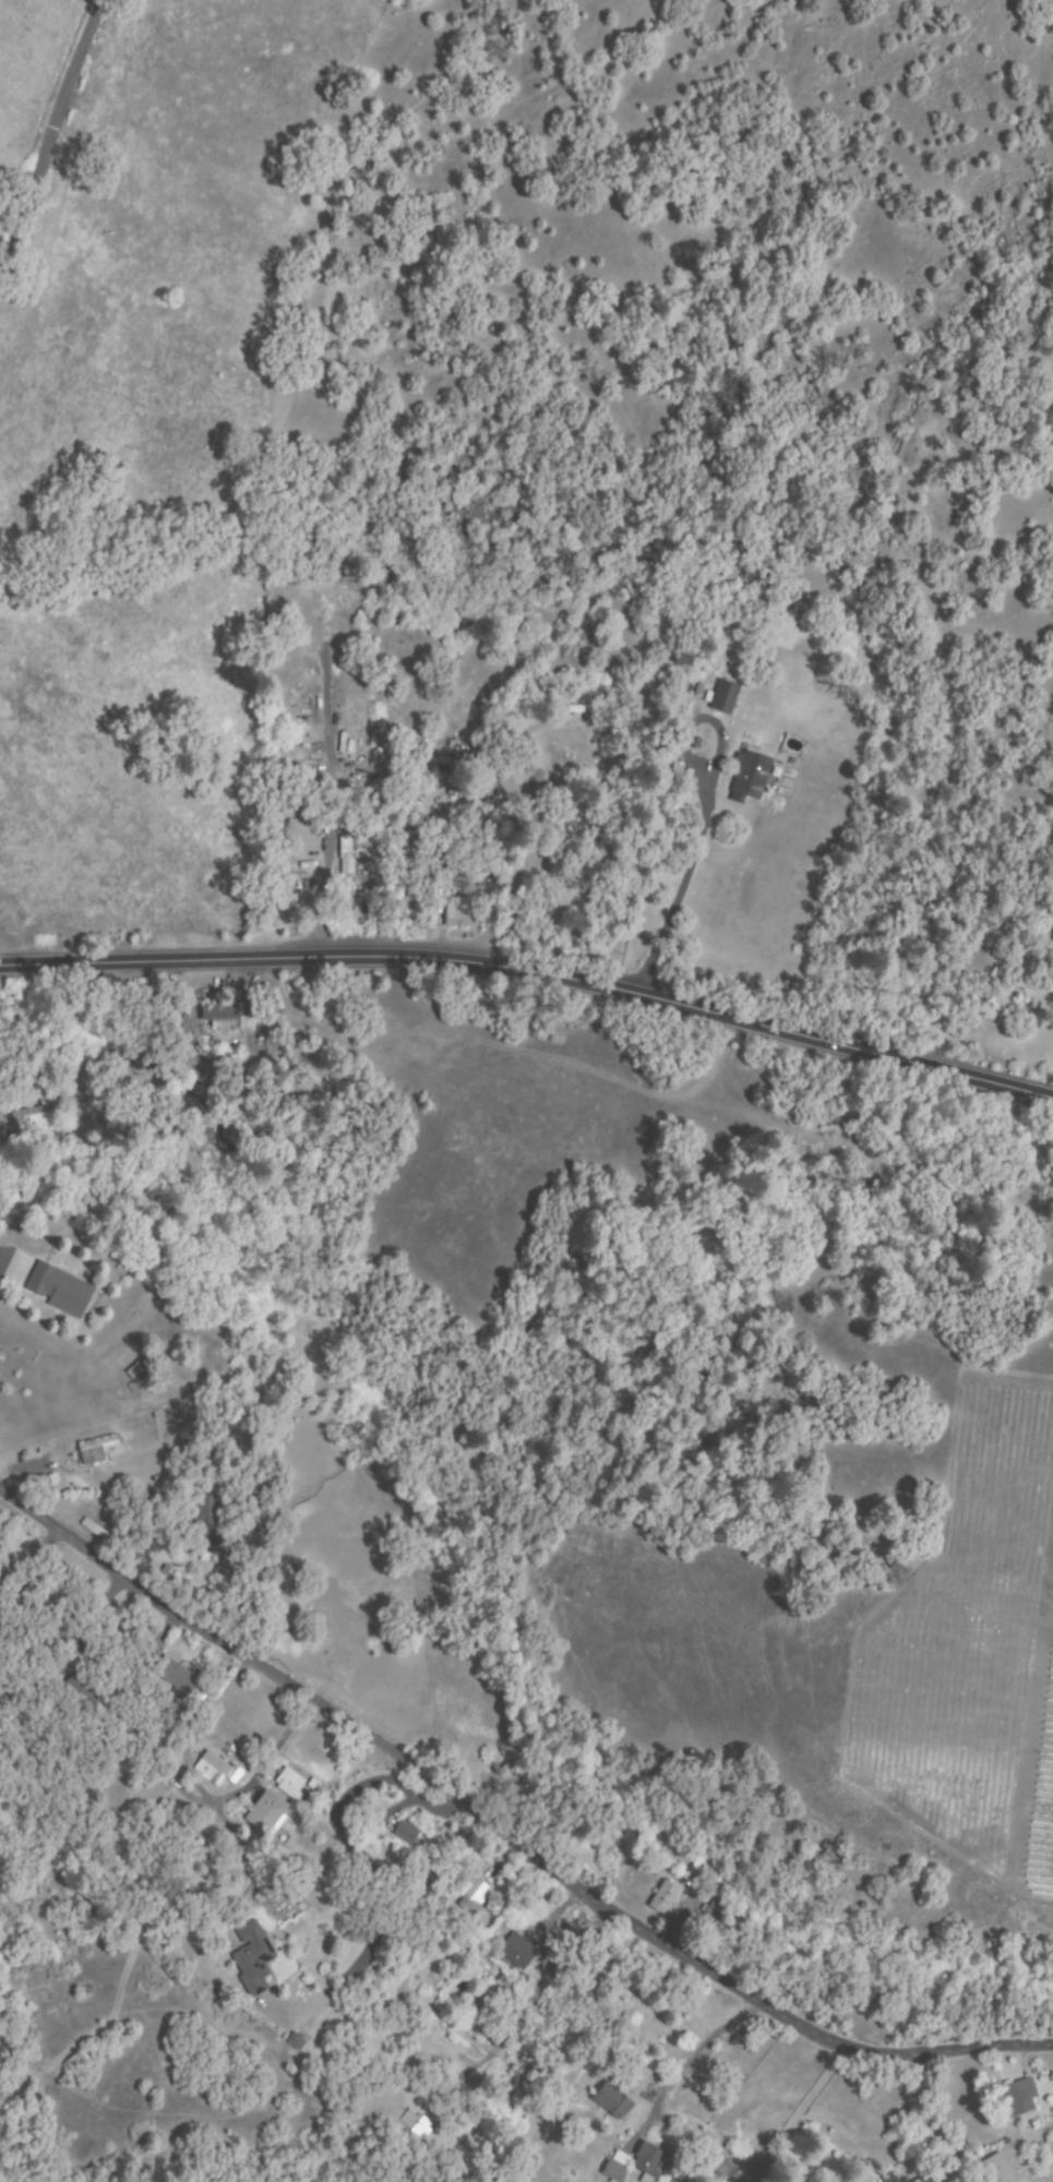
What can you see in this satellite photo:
road: (52, 125)
building: (697, 690)
building: (725, 696)
building: (278, 708)
building: (586, 709)
building: (279, 750)
building: (307, 768)
building: (678, 775)
building: (750, 776)
building: (315, 778)
building: (285, 798)
building: (373, 799)
building: (382, 819)
building: (360, 825)
building: (402, 826)
building: (448, 846)
building: (352, 852)
building: (464, 864)
road: (679, 883)
building: (456, 911)
road: (534, 976)
building: (155, 1007)
building: (220, 1015)
building: (250, 1015)
building: (32, 1122)
building: (60, 1290)
building: (135, 1370)
building: (99, 1448)
building: (243, 1503)
building: (208, 1510)
building: (120, 1540)
building: (37, 1597)
building: (34, 1630)
building: (178, 1678)
building: (82, 1694)
building: (214, 1769)
building: (290, 1784)
building: (176, 1814)
building: (266, 1814)
building: (403, 1832)
road: (506, 1835)
building: (427, 1870)
building: (710, 1873)
building: (472, 1897)
building: (665, 1897)
building: (714, 1915)
building: (552, 1950)
building: (517, 1951)
building: (252, 1958)
building: (490, 2012)
building: (295, 2040)
building: (750, 2049)
building: (417, 2065)
building: (639, 2074)
building: (1019, 2098)
building: (611, 2103)
road: (906, 2118)
building: (415, 2123)
building: (649, 2161)
building: (617, 2168)
building: (1001, 2168)
building: (730, 2177)
building: (887, 2179)
building: (929, 2179)

